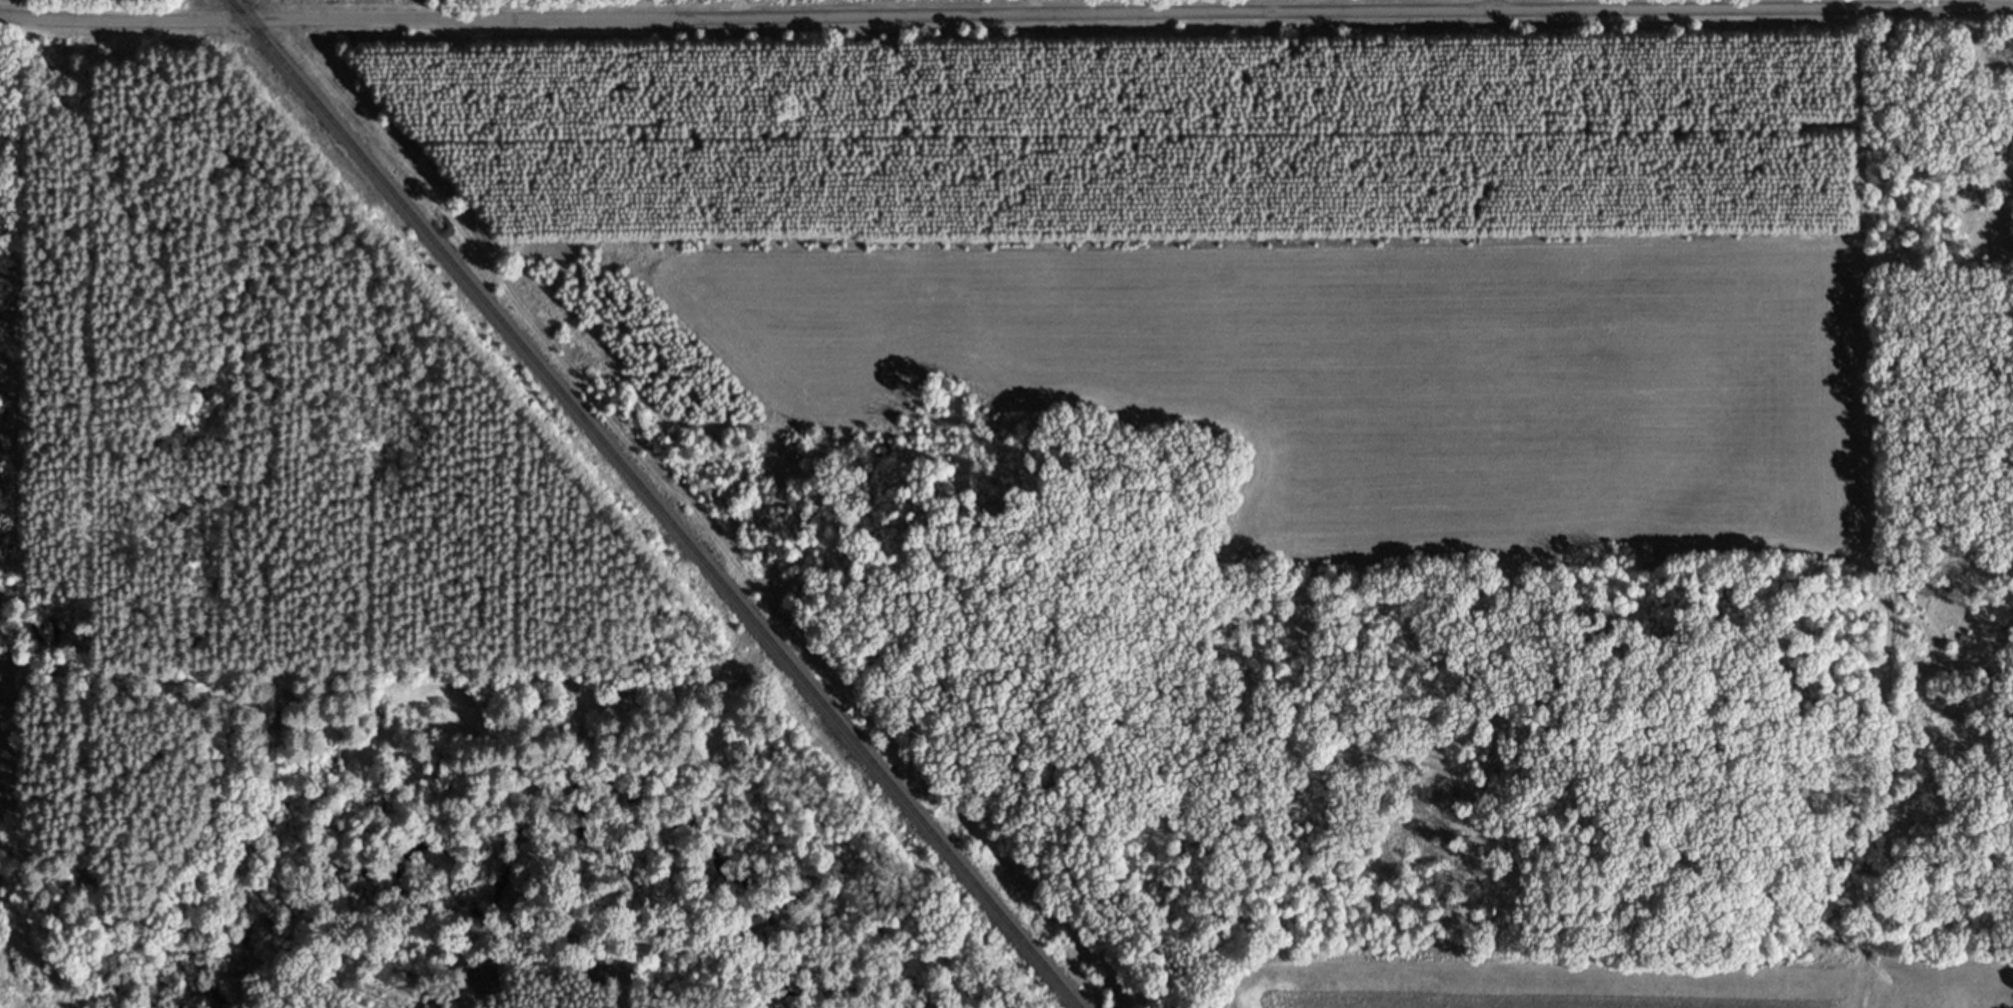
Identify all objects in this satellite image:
road: (1006, 14)
road: (91, 237)
railway: (648, 504)

